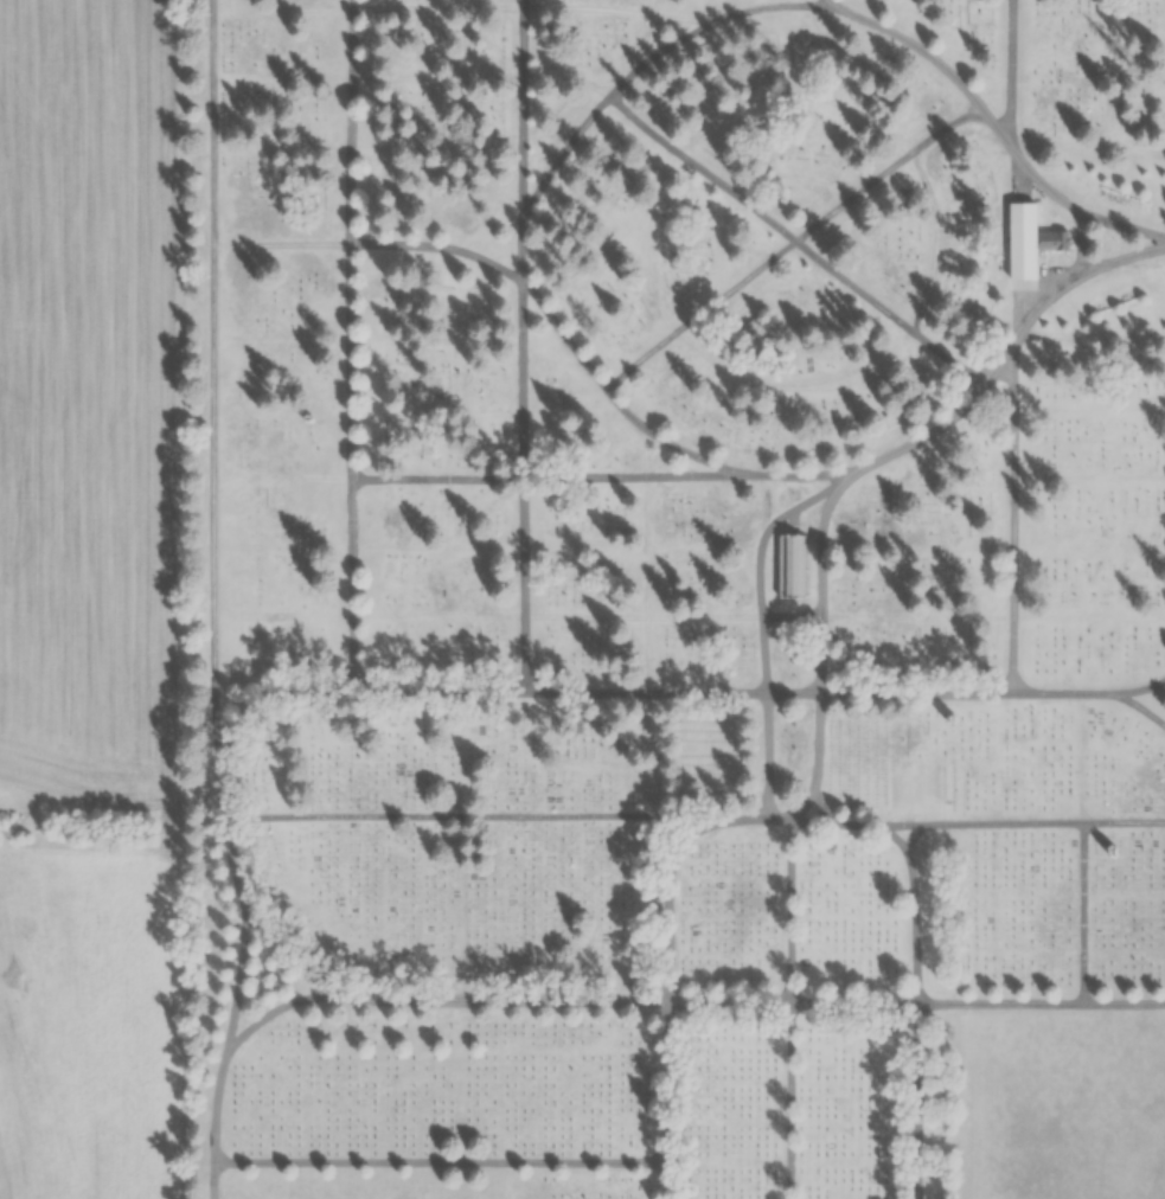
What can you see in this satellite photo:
road: (836, 4)
road: (585, 7)
road: (647, 7)
road: (439, 8)
road: (283, 11)
road: (684, 18)
road: (713, 21)
road: (647, 38)
road: (920, 47)
road: (1011, 71)
road: (437, 77)
road: (568, 78)
road: (793, 95)
road: (523, 114)
road: (351, 120)
road: (996, 127)
road: (1014, 152)
road: (559, 158)
road: (700, 168)
road: (886, 171)
road: (1020, 178)
road: (1045, 186)
road: (1118, 226)
building: (1019, 230)
building: (1050, 239)
road: (646, 241)
road: (936, 241)
road: (1077, 241)
road: (439, 246)
road: (521, 252)
road: (1120, 258)
road: (1013, 302)
road: (1041, 303)
road: (699, 314)
road: (888, 314)
road: (563, 334)
road: (350, 359)
road: (1000, 363)
road: (523, 378)
road: (794, 389)
road: (213, 408)
road: (928, 432)
road: (673, 445)
road: (808, 474)
road: (640, 476)
road: (437, 477)
road: (1089, 477)
road: (767, 500)
road: (802, 504)
road: (1014, 517)
road: (647, 546)
building: (790, 565)
road: (760, 572)
road: (821, 573)
road: (524, 584)
park: (674, 599)
road: (439, 614)
road: (705, 615)
road: (587, 616)
road: (792, 616)
road: (916, 617)
road: (1089, 617)
road: (647, 654)
road: (763, 654)
road: (356, 660)
road: (1138, 688)
road: (647, 692)
road: (794, 693)
road: (916, 693)
road: (1061, 693)
road: (1139, 705)
road: (818, 742)
road: (768, 755)
road: (802, 806)
road: (821, 809)
road: (457, 815)
road: (780, 819)
road: (724, 820)
road: (815, 821)
road: (1125, 822)
road: (858, 825)
road: (1003, 825)
road: (901, 826)
road: (896, 836)
road: (910, 838)
road: (230, 861)
road: (792, 910)
road: (1083, 912)
road: (667, 916)
road: (915, 928)
road: (296, 964)
road: (238, 983)
road: (519, 1000)
road: (731, 1002)
road: (854, 1002)
road: (284, 1004)
road: (1001, 1004)
road: (1125, 1004)
road: (671, 1081)
road: (792, 1101)
road: (922, 1101)
road: (213, 1111)
road: (441, 1162)
road: (211, 1176)
road: (671, 1179)
road: (212, 1194)

